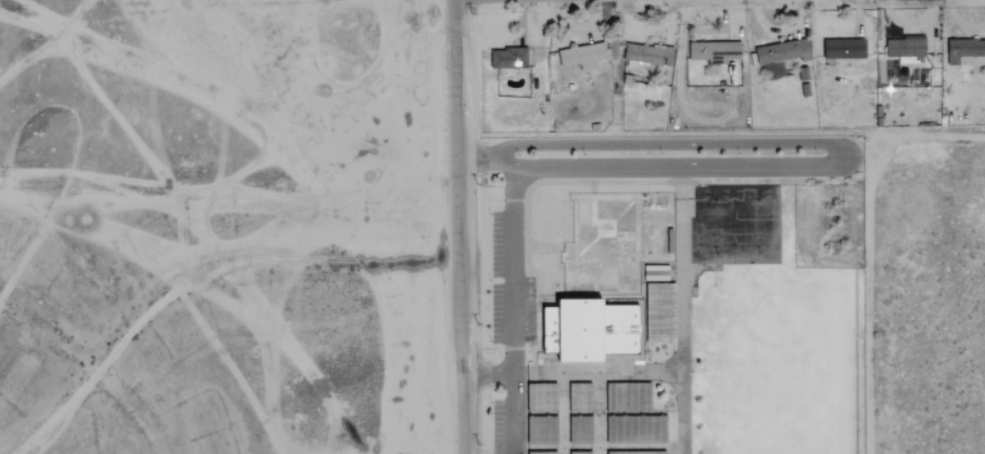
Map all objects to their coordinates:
building: (845, 49)
building: (906, 49)
building: (783, 51)
building: (714, 52)
building: (966, 52)
building: (584, 56)
building: (648, 56)
building: (509, 58)
road: (851, 153)
road: (230, 201)
road: (461, 227)
road: (514, 269)
building: (655, 273)
building: (662, 313)
building: (592, 330)
park: (777, 359)
road: (514, 384)
building: (543, 397)
building: (581, 397)
building: (629, 397)
building: (637, 429)
building: (542, 430)
building: (581, 430)
building: (582, 452)
building: (637, 452)
building: (543, 453)

